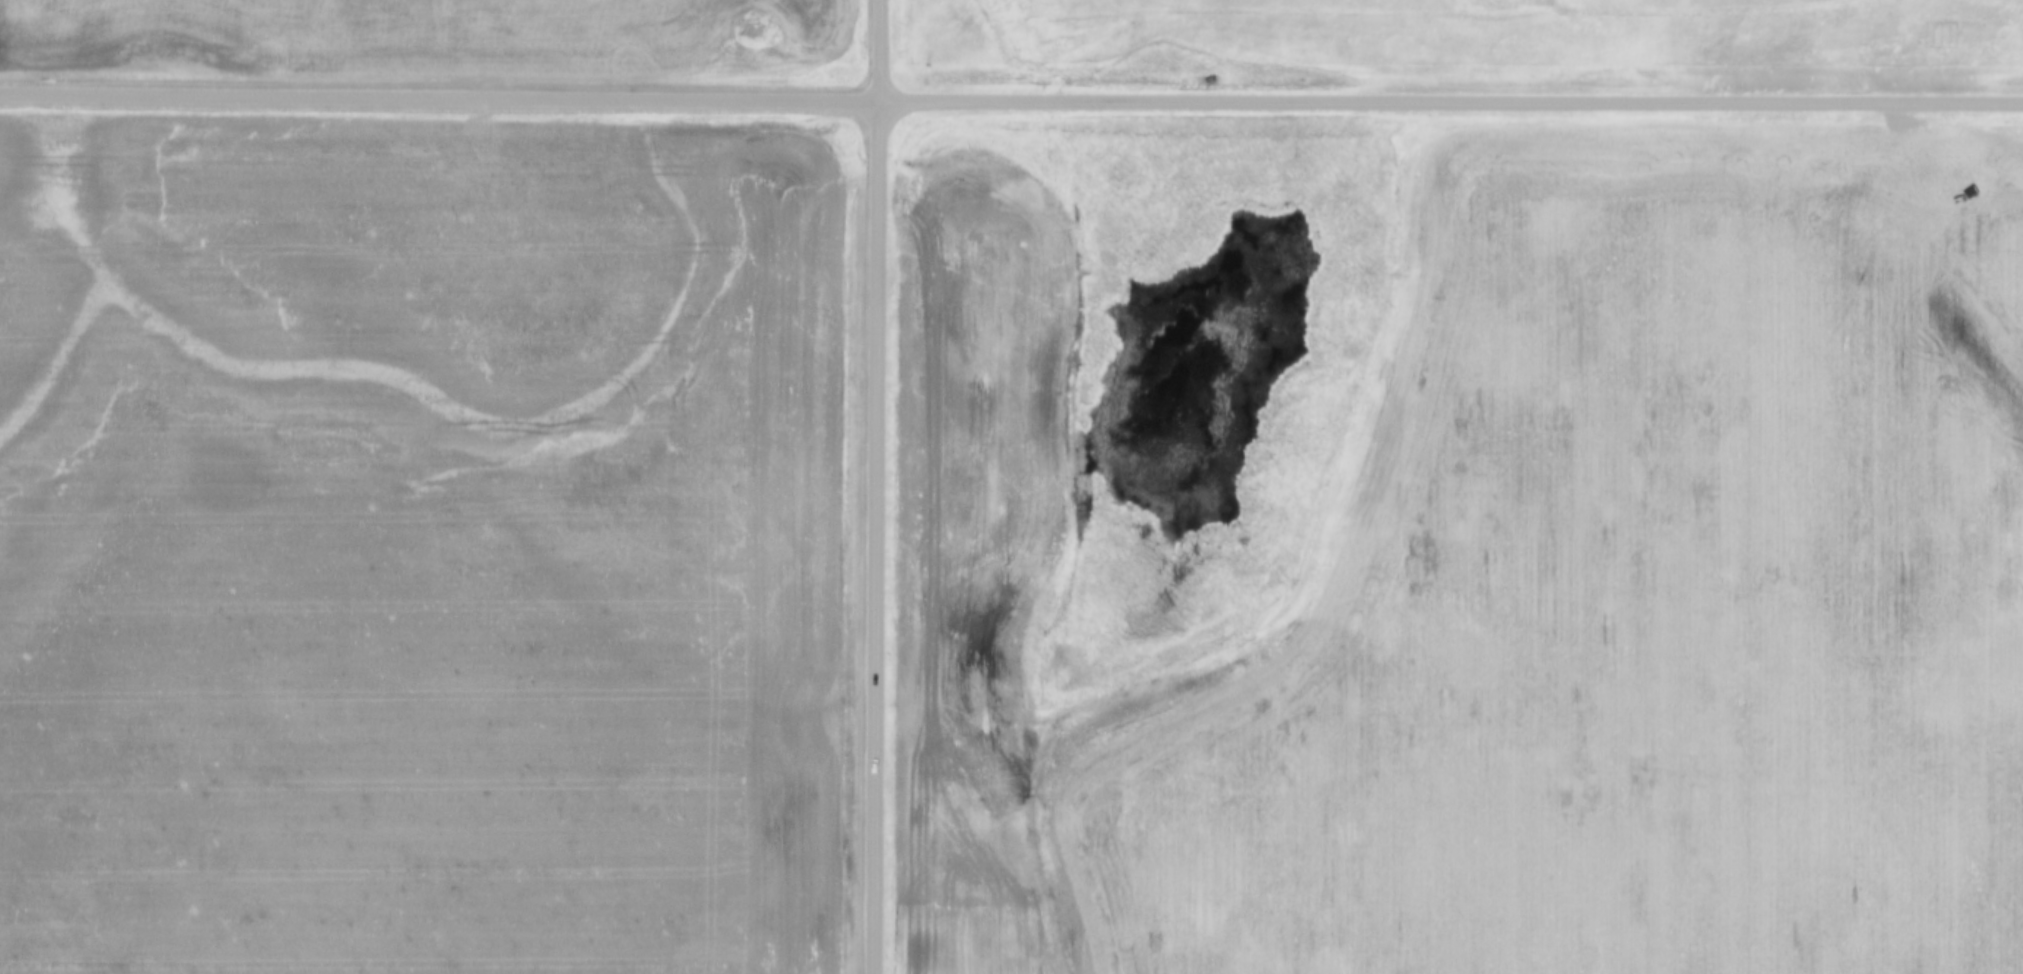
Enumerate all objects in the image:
road: (1011, 101)
road: (881, 487)

